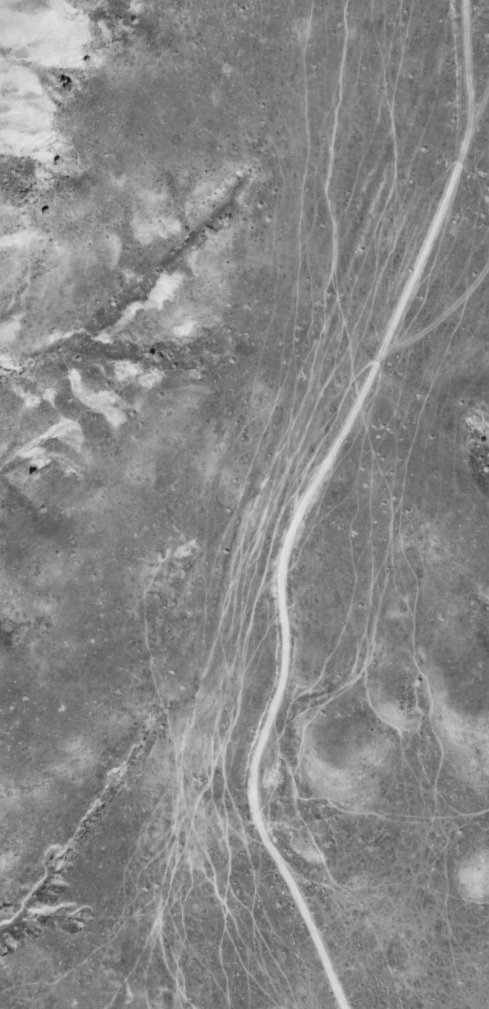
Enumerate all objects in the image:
road: (469, 69)
road: (434, 323)
road: (287, 538)

